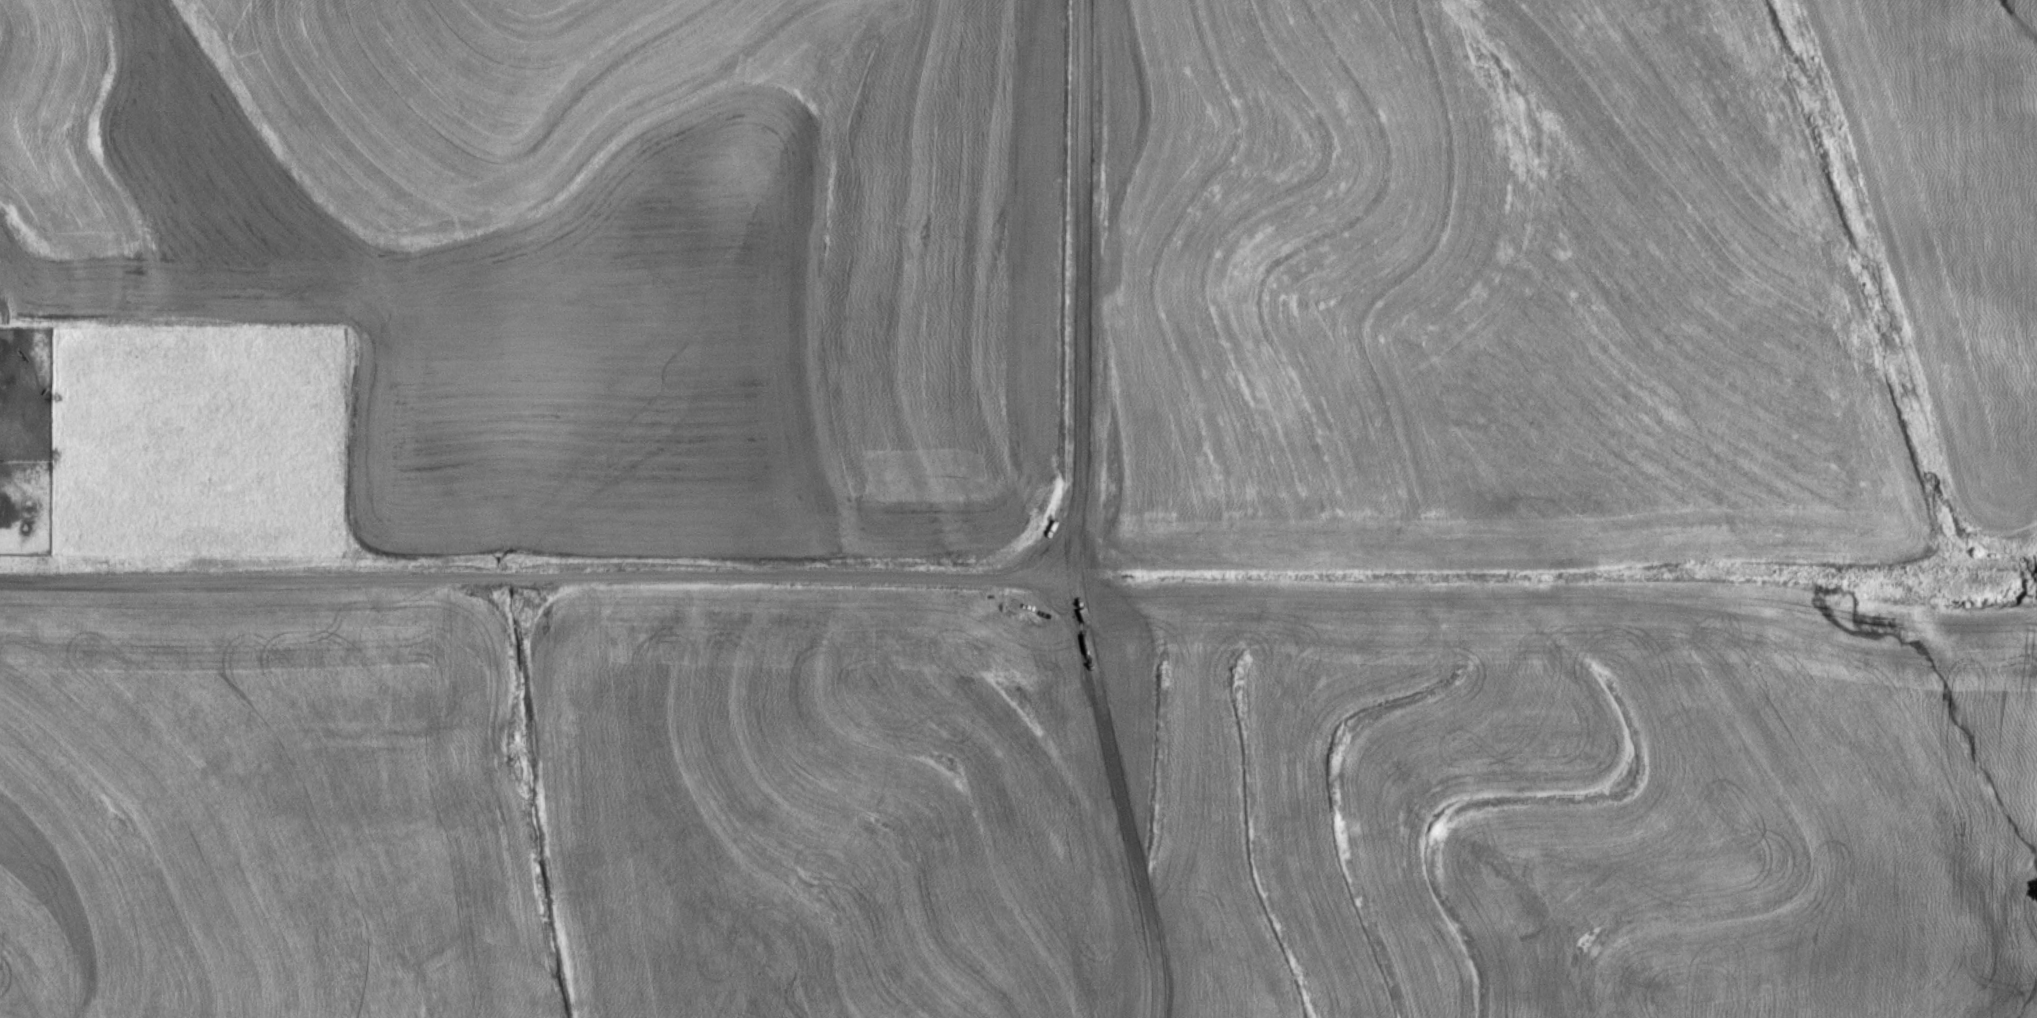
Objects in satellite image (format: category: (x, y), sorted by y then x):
road: (1086, 291)
road: (881, 579)

